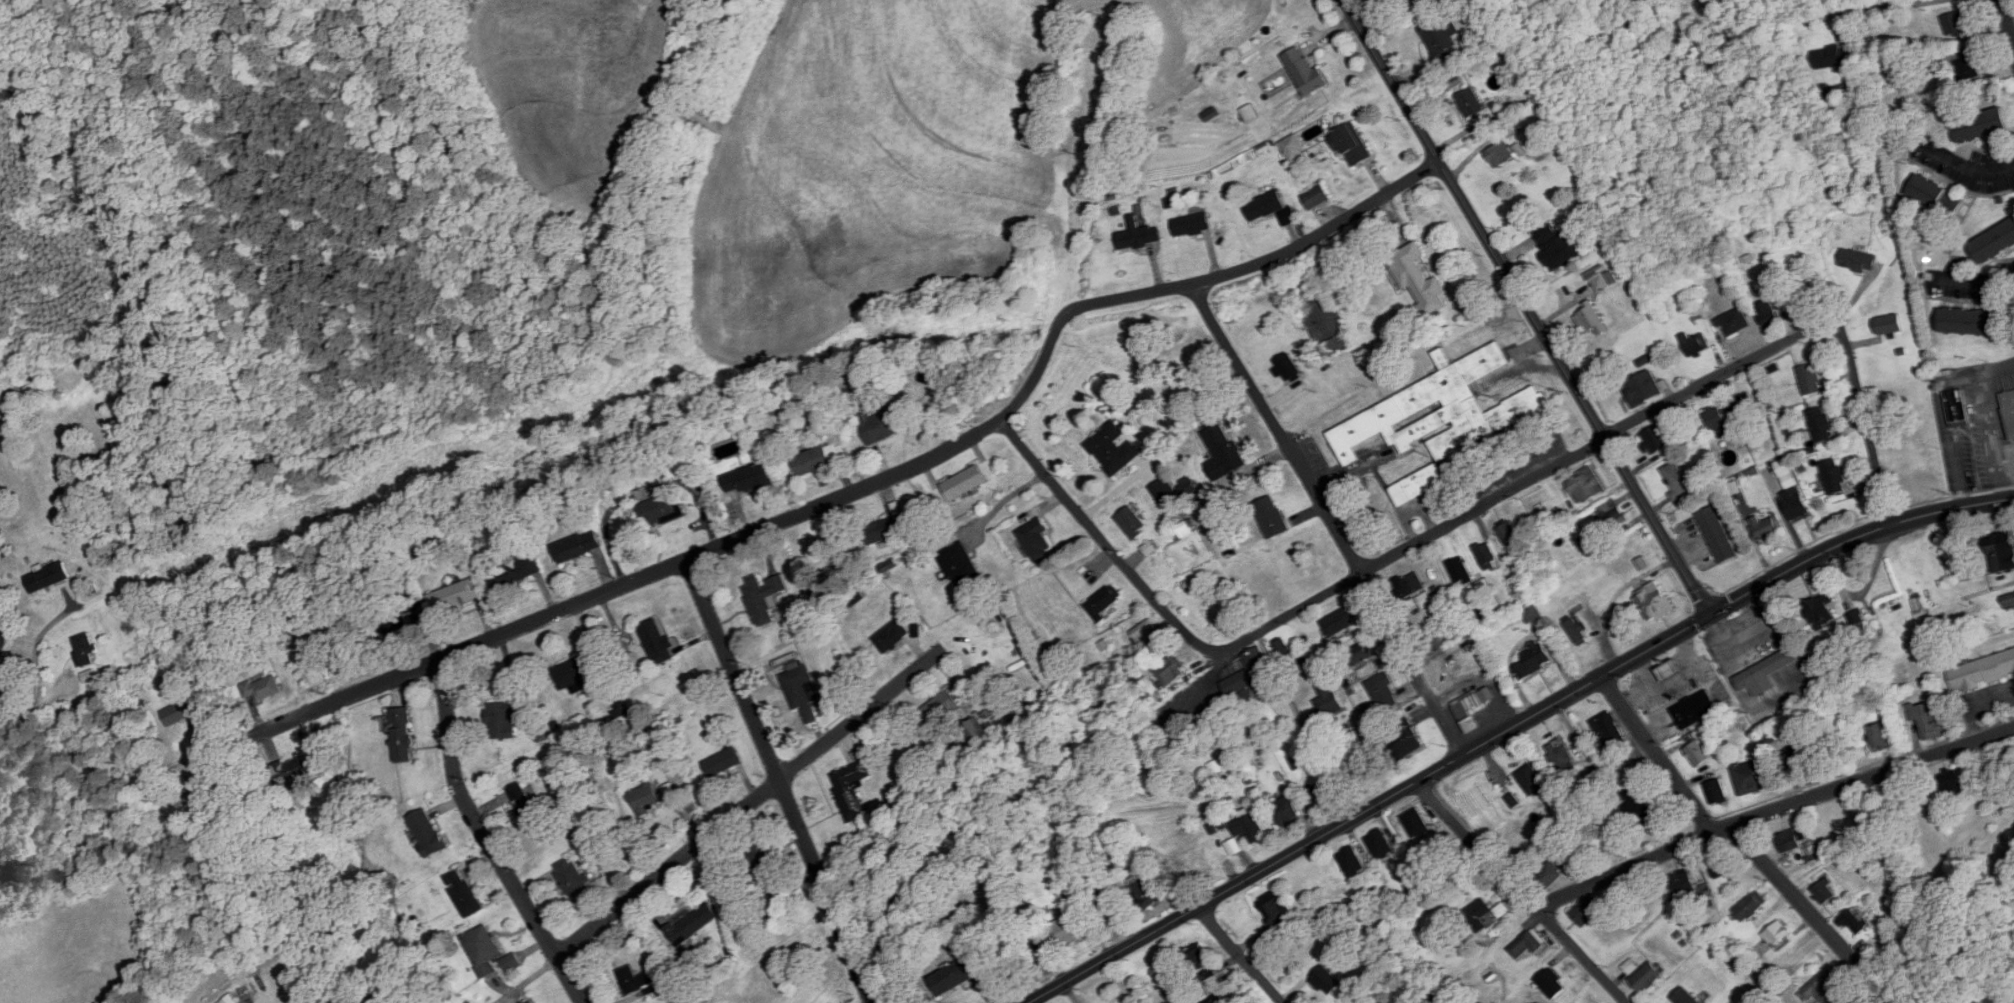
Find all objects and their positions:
road: (1873, 8)
road: (2007, 21)
building: (1956, 23)
building: (1441, 36)
building: (1832, 56)
building: (1970, 68)
building: (1306, 71)
building: (1471, 101)
building: (1983, 124)
building: (1354, 144)
building: (1294, 147)
road: (1135, 155)
building: (1501, 155)
building: (1938, 195)
building: (1317, 197)
building: (1266, 205)
building: (1192, 224)
building: (1138, 235)
building: (1995, 243)
building: (1563, 252)
building: (1860, 260)
building: (1420, 278)
road: (1972, 279)
building: (1596, 283)
road: (1528, 306)
building: (1768, 313)
building: (1592, 319)
building: (1973, 321)
building: (1735, 322)
building: (1889, 324)
building: (1695, 343)
building: (1331, 347)
building: (1289, 367)
building: (1810, 379)
building: (1643, 389)
building: (1744, 404)
building: (1958, 407)
building: (2009, 409)
building: (1443, 411)
building: (1719, 422)
building: (885, 424)
building: (1822, 424)
building: (1656, 439)
building: (1114, 449)
building: (1222, 452)
building: (1908, 457)
building: (818, 459)
building: (1835, 476)
building: (748, 479)
road: (875, 481)
building: (965, 482)
building: (1419, 484)
building: (1587, 485)
building: (1161, 491)
building: (645, 492)
road: (1004, 500)
building: (1797, 505)
road: (1477, 508)
building: (660, 509)
building: (1272, 516)
building: (1610, 517)
road: (1331, 518)
building: (1132, 521)
building: (1766, 527)
building: (1185, 529)
building: (882, 530)
building: (1509, 534)
building: (1717, 534)
building: (1036, 536)
building: (90, 538)
building: (1587, 543)
building: (578, 546)
building: (2003, 550)
building: (1487, 556)
building: (960, 564)
building: (1460, 570)
building: (514, 571)
building: (48, 576)
building: (1411, 585)
building: (455, 595)
building: (764, 597)
building: (1426, 599)
building: (1105, 600)
building: (2009, 600)
building: (1656, 601)
building: (1209, 610)
building: (1823, 611)
building: (1339, 622)
building: (1859, 623)
building: (401, 625)
building: (1577, 630)
building: (1146, 631)
building: (892, 635)
building: (657, 641)
road: (37, 642)
building: (84, 649)
building: (1285, 651)
building: (1361, 653)
building: (1534, 660)
building: (1668, 666)
building: (1171, 670)
building: (1765, 671)
building: (1982, 671)
building: (573, 672)
building: (1249, 676)
building: (264, 687)
building: (802, 691)
building: (1384, 692)
building: (1329, 700)
building: (620, 701)
road: (1343, 704)
road: (1975, 706)
building: (938, 709)
building: (1697, 710)
road: (18, 712)
building: (177, 713)
building: (1468, 716)
building: (505, 718)
building: (1928, 719)
road: (1511, 727)
building: (1609, 731)
building: (403, 735)
building: (1880, 737)
building: (1406, 743)
road: (1657, 754)
building: (1698, 754)
building: (1563, 755)
building: (723, 762)
building: (1801, 762)
building: (291, 770)
building: (1754, 777)
road: (780, 780)
building: (1532, 780)
building: (1953, 783)
building: (852, 789)
building: (1717, 792)
building: (1321, 795)
building: (647, 799)
road: (750, 801)
building: (526, 808)
building: (1642, 808)
road: (1772, 810)
building: (1285, 812)
building: (1416, 823)
building: (1251, 828)
building: (428, 833)
road: (488, 839)
building: (1793, 839)
building: (1380, 844)
building: (1352, 861)
building: (1187, 864)
building: (1723, 867)
building: (765, 868)
building: (571, 876)
building: (1550, 876)
building: (1685, 884)
building: (1827, 891)
road: (1522, 892)
building: (464, 893)
building: (1148, 893)
building: (1098, 896)
building: (1751, 906)
building: (1588, 911)
building: (1276, 912)
building: (1479, 914)
road: (1812, 914)
building: (1852, 921)
building: (692, 925)
building: (1069, 927)
building: (746, 929)
building: (1778, 933)
building: (1528, 945)
building: (484, 949)
building: (1042, 949)
road: (1240, 955)
building: (1200, 961)
building: (512, 962)
building: (957, 975)
building: (1648, 976)
building: (638, 980)
building: (1326, 981)
building: (1553, 983)
building: (1826, 986)
building: (1684, 997)
building: (230, 999)
building: (536, 1001)

